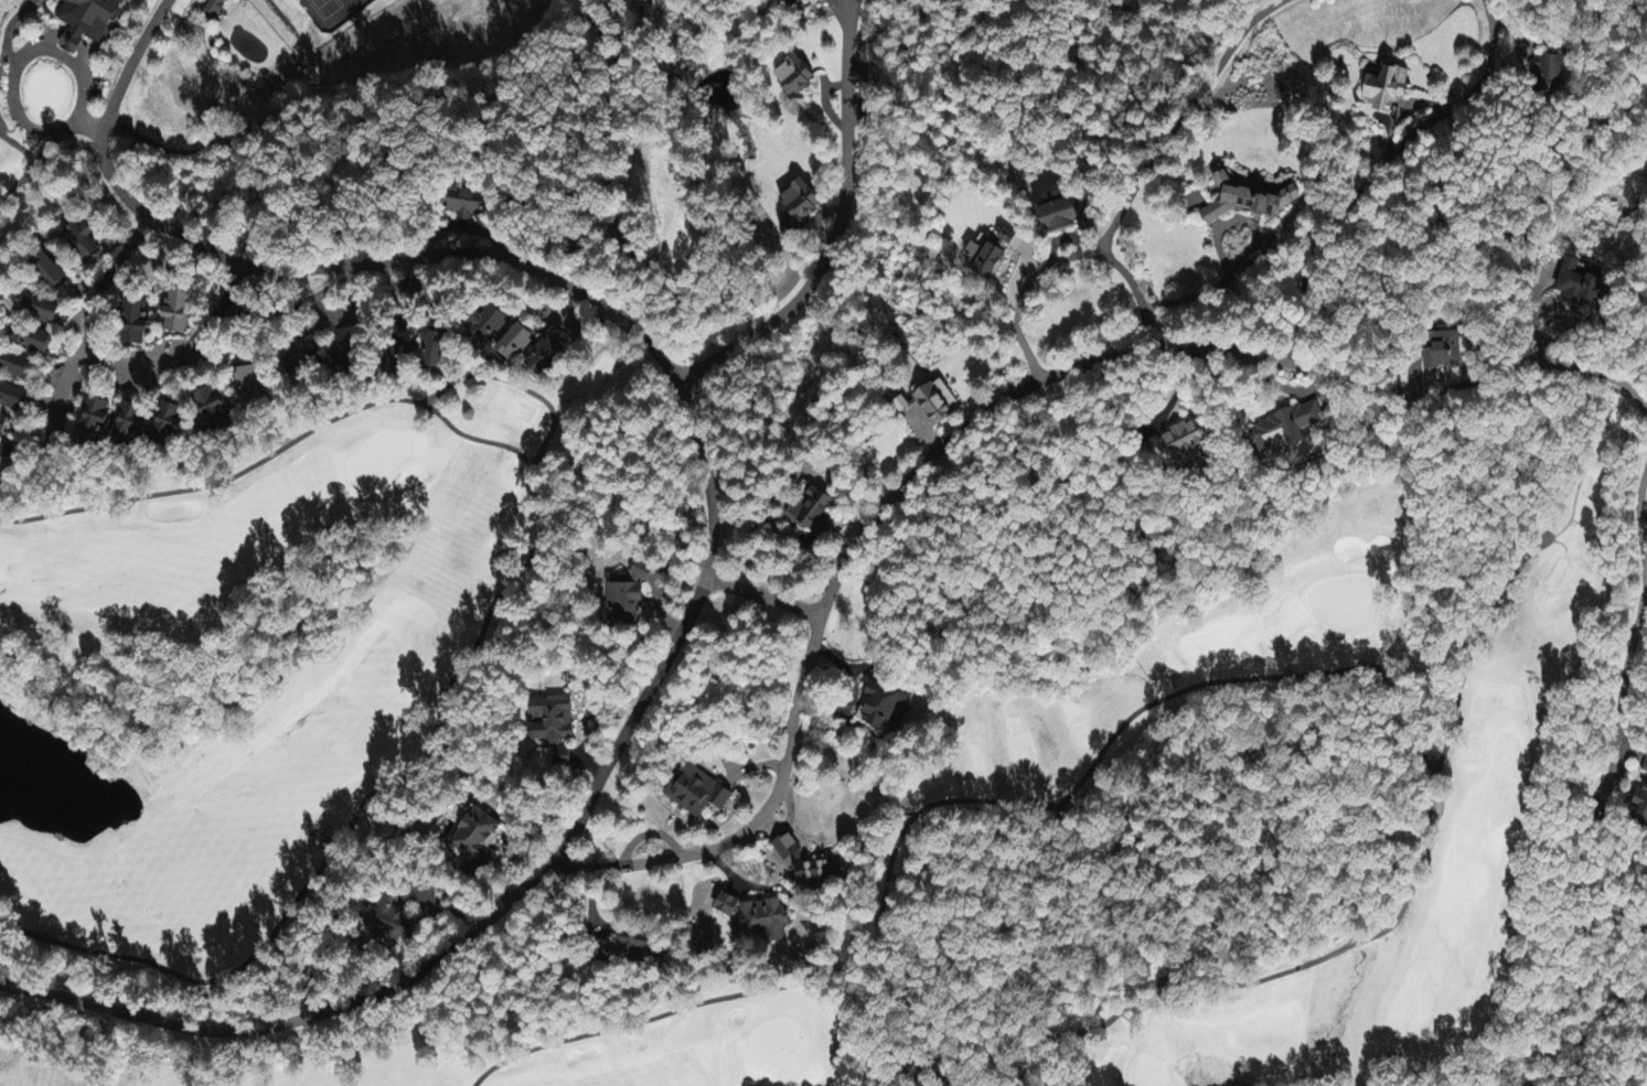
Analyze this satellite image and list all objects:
building: (793, 2)
building: (214, 8)
building: (88, 22)
road: (10, 29)
road: (25, 58)
park: (205, 63)
building: (1549, 76)
building: (794, 77)
building: (1388, 89)
road: (1183, 117)
road: (1378, 169)
building: (801, 203)
building: (1248, 203)
building: (467, 204)
building: (1059, 214)
road: (837, 227)
building: (1006, 240)
building: (81, 243)
road: (1065, 260)
building: (986, 261)
building: (47, 272)
building: (1579, 286)
road: (301, 300)
building: (40, 312)
building: (179, 314)
building: (135, 325)
building: (490, 326)
building: (32, 342)
building: (516, 346)
building: (435, 353)
building: (1445, 353)
building: (346, 354)
building: (545, 361)
building: (302, 364)
road: (117, 365)
building: (14, 366)
road: (62, 380)
building: (249, 387)
building: (12, 400)
building: (937, 404)
road: (988, 413)
building: (213, 415)
building: (93, 422)
building: (169, 423)
building: (2, 428)
building: (127, 429)
building: (1286, 430)
building: (1185, 444)
building: (6, 460)
building: (811, 508)
road: (712, 525)
building: (629, 595)
road: (763, 598)
road: (1633, 639)
park: (388, 673)
building: (884, 707)
building: (552, 721)
park: (1036, 761)
building: (1645, 768)
building: (696, 792)
building: (1640, 807)
building: (478, 838)
building: (821, 869)
building: (727, 905)
building: (387, 917)
building: (767, 920)
building: (627, 946)
park: (57, 1069)

